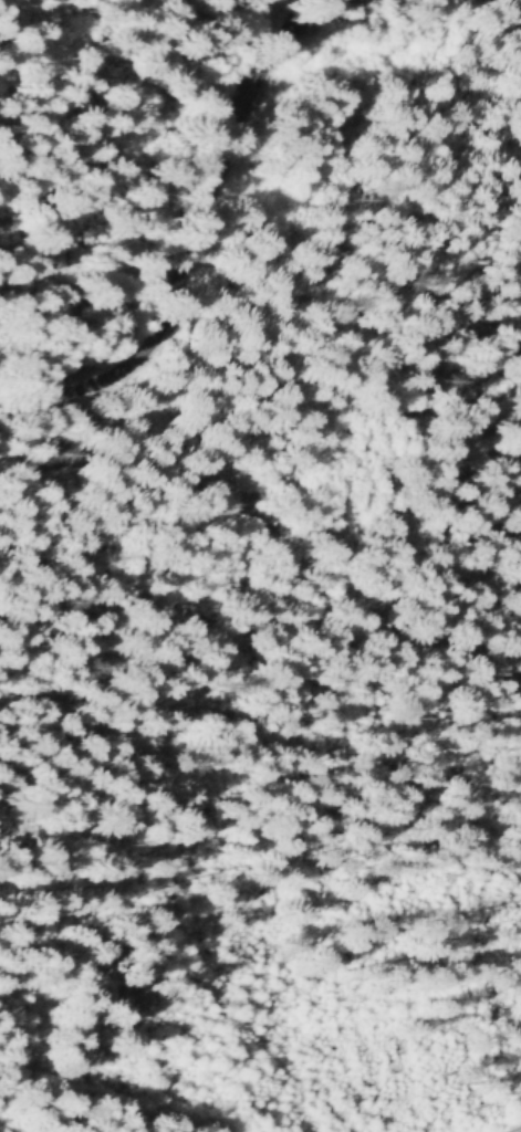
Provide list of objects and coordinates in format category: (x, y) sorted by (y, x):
road: (195, 226)

